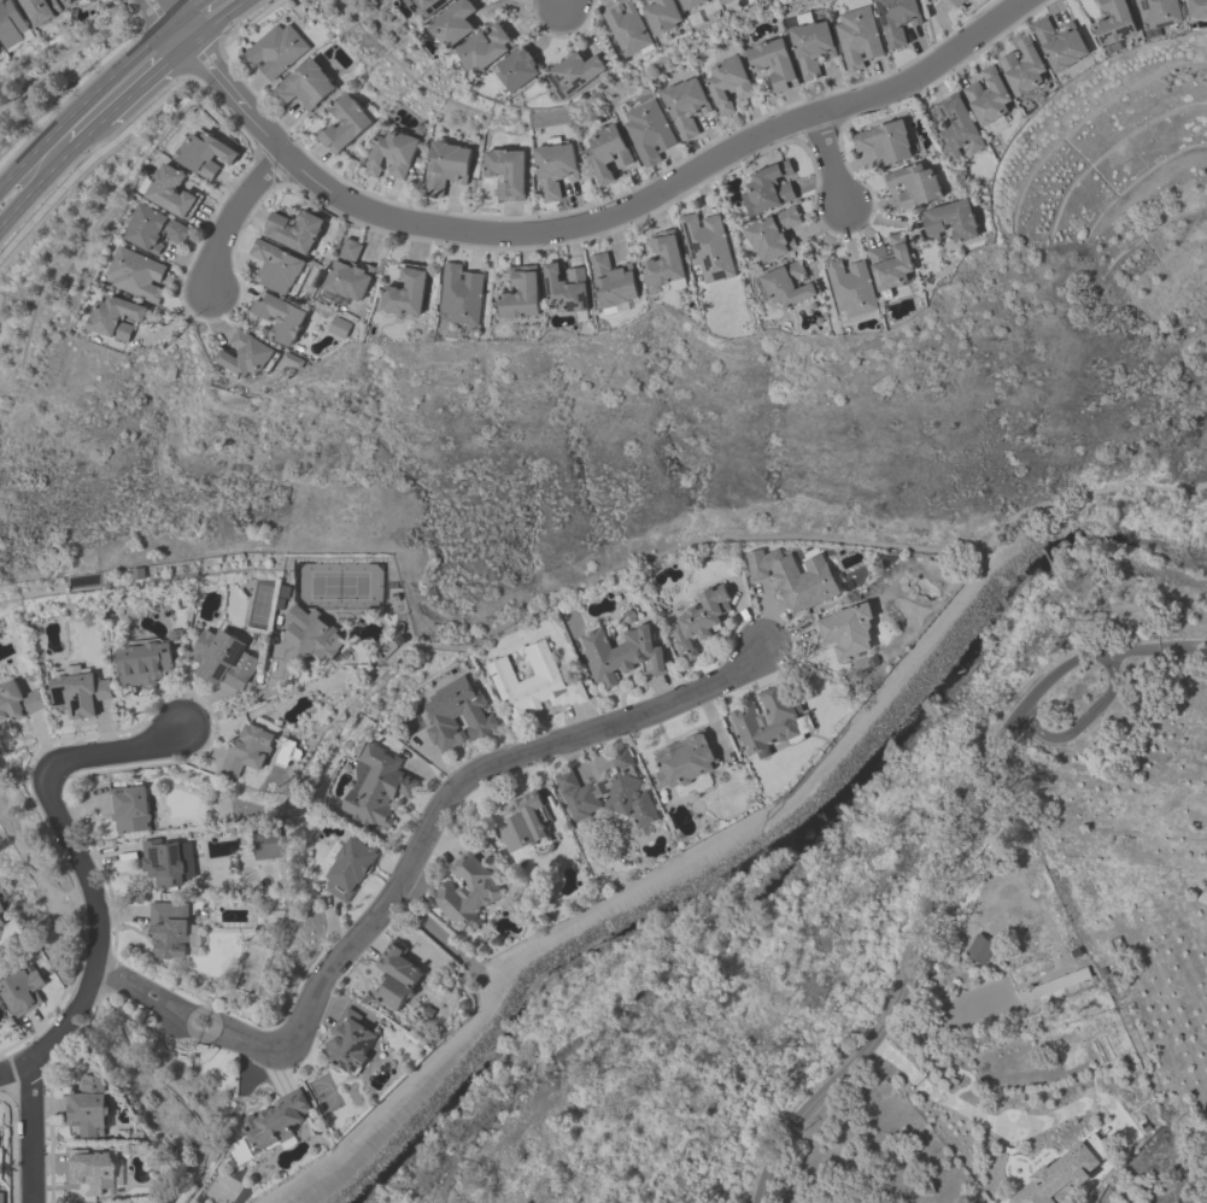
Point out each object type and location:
building: (646, 0)
building: (941, 0)
building: (1094, 0)
building: (723, 1)
building: (955, 1)
building: (690, 2)
building: (70, 4)
road: (557, 4)
building: (427, 6)
building: (1196, 7)
building: (40, 10)
building: (1158, 11)
road: (157, 12)
road: (183, 12)
building: (661, 14)
building: (896, 18)
building: (1113, 20)
building: (451, 23)
road: (217, 24)
building: (12, 25)
building: (627, 28)
road: (176, 36)
building: (856, 36)
building: (1057, 41)
building: (809, 46)
building: (484, 48)
building: (273, 49)
building: (0, 51)
building: (772, 63)
building: (1021, 66)
building: (516, 68)
building: (576, 71)
building: (726, 82)
road: (145, 84)
building: (303, 84)
building: (986, 95)
building: (682, 104)
road: (82, 105)
building: (342, 122)
building: (955, 125)
building: (646, 130)
road: (87, 134)
building: (884, 140)
building: (605, 152)
building: (204, 153)
building: (391, 153)
road: (827, 162)
building: (444, 165)
building: (552, 168)
building: (505, 171)
building: (913, 183)
building: (768, 186)
road: (35, 187)
building: (170, 190)
road: (232, 218)
road: (597, 218)
building: (950, 219)
building: (154, 228)
building: (292, 229)
building: (772, 234)
building: (707, 246)
building: (661, 260)
building: (889, 263)
building: (274, 265)
building: (135, 274)
building: (345, 274)
building: (611, 281)
building: (785, 283)
building: (849, 287)
building: (564, 288)
building: (404, 292)
building: (459, 293)
building: (520, 293)
building: (277, 316)
building: (113, 317)
building: (338, 327)
building: (245, 354)
building: (291, 359)
building: (792, 576)
road: (1086, 600)
building: (697, 620)
building: (846, 630)
building: (310, 634)
building: (620, 653)
building: (221, 658)
building: (142, 662)
road: (1109, 665)
building: (532, 681)
building: (76, 692)
building: (17, 702)
road: (238, 705)
building: (456, 714)
road: (1086, 714)
building: (769, 720)
road: (1035, 726)
building: (247, 750)
building: (684, 758)
building: (374, 785)
building: (608, 792)
road: (446, 798)
building: (128, 809)
building: (525, 823)
road: (745, 823)
road: (74, 857)
building: (162, 862)
road: (939, 867)
building: (347, 868)
building: (465, 891)
building: (997, 908)
building: (1, 909)
building: (1, 922)
building: (168, 929)
road: (434, 934)
building: (394, 975)
road: (487, 980)
road: (135, 987)
building: (19, 991)
road: (209, 1013)
road: (200, 1034)
building: (347, 1041)
road: (12, 1068)
road: (170, 1087)
building: (86, 1107)
building: (274, 1121)
road: (1006, 1125)
road: (31, 1131)
building: (89, 1170)
building: (1062, 1174)
building: (0, 1197)

